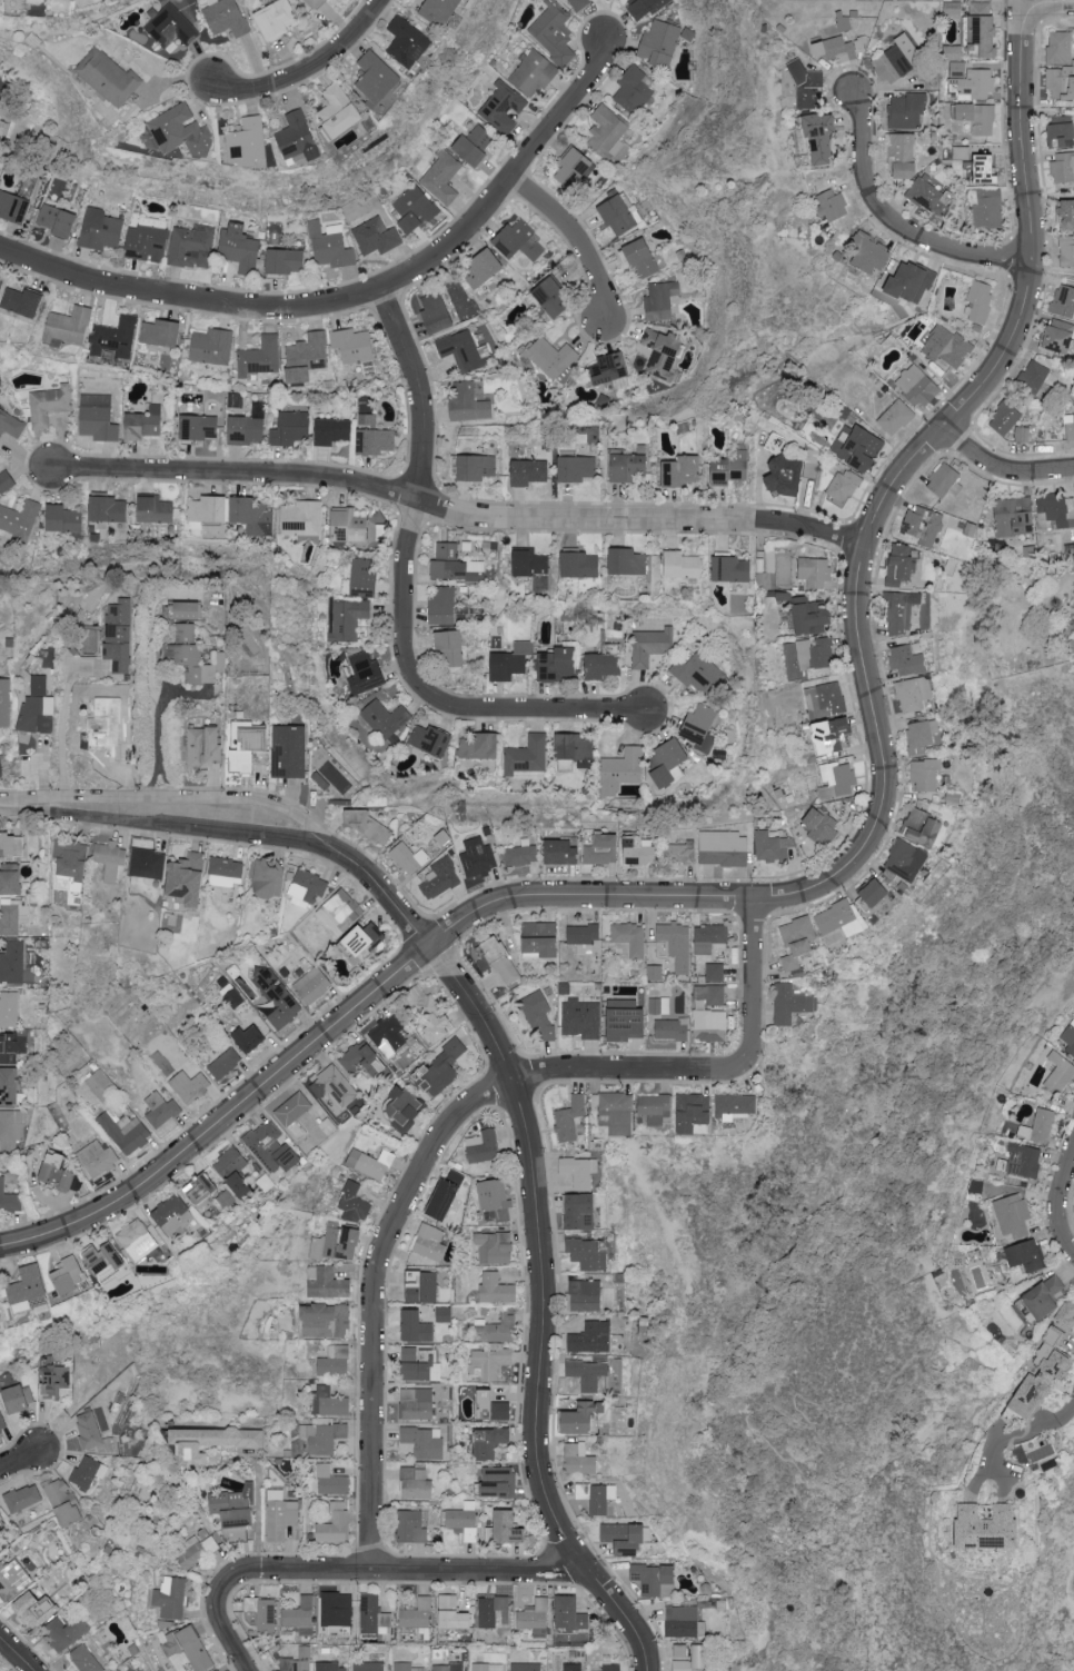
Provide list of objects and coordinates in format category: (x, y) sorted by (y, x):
building: (34, 1)
building: (317, 2)
road: (1047, 2)
building: (577, 3)
building: (642, 8)
building: (440, 11)
building: (227, 18)
building: (277, 19)
building: (171, 28)
building: (985, 31)
building: (554, 32)
building: (408, 42)
building: (662, 42)
building: (839, 48)
building: (1058, 49)
building: (954, 52)
building: (898, 60)
building: (959, 69)
road: (309, 70)
building: (534, 72)
building: (109, 77)
building: (377, 80)
building: (977, 83)
building: (1060, 86)
building: (808, 87)
building: (635, 89)
building: (504, 107)
building: (907, 111)
building: (338, 112)
building: (978, 118)
building: (181, 131)
building: (607, 131)
building: (1058, 136)
building: (297, 137)
building: (822, 138)
building: (248, 142)
building: (476, 145)
building: (902, 156)
building: (573, 167)
building: (986, 169)
building: (1063, 169)
building: (441, 177)
building: (928, 197)
building: (831, 206)
building: (14, 207)
building: (416, 208)
building: (990, 208)
building: (619, 215)
building: (1066, 217)
building: (58, 220)
road: (899, 223)
building: (100, 229)
building: (376, 236)
road: (577, 240)
building: (520, 241)
building: (146, 242)
building: (329, 245)
building: (191, 247)
building: (239, 248)
building: (1066, 251)
building: (867, 253)
building: (642, 257)
building: (286, 261)
building: (484, 270)
building: (913, 281)
building: (0, 282)
road: (356, 297)
building: (553, 297)
building: (663, 300)
building: (979, 300)
building: (23, 302)
building: (1063, 304)
building: (437, 311)
building: (68, 325)
building: (161, 332)
building: (115, 337)
building: (1056, 340)
building: (354, 345)
building: (212, 346)
building: (947, 346)
building: (464, 350)
building: (663, 351)
building: (261, 357)
building: (306, 357)
building: (553, 358)
building: (611, 371)
building: (1033, 376)
building: (917, 387)
building: (469, 402)
building: (49, 405)
building: (98, 417)
building: (897, 417)
building: (1003, 417)
building: (145, 424)
building: (11, 425)
building: (1070, 426)
building: (200, 427)
building: (249, 427)
building: (290, 428)
building: (332, 430)
building: (1023, 434)
building: (376, 441)
building: (776, 444)
building: (858, 447)
building: (474, 467)
building: (576, 467)
building: (626, 467)
road: (1001, 467)
building: (732, 470)
building: (529, 471)
building: (682, 471)
road: (901, 474)
building: (786, 475)
building: (6, 481)
building: (943, 484)
building: (844, 485)
building: (109, 508)
building: (156, 510)
building: (207, 510)
road: (457, 513)
building: (1055, 514)
building: (252, 516)
building: (20, 517)
building: (1012, 517)
building: (301, 518)
building: (63, 519)
building: (356, 527)
building: (923, 528)
building: (446, 550)
building: (627, 561)
building: (580, 564)
building: (683, 565)
building: (455, 568)
building: (534, 568)
building: (899, 568)
building: (732, 569)
building: (774, 570)
building: (815, 573)
building: (365, 578)
road: (405, 600)
building: (444, 605)
building: (188, 610)
building: (812, 616)
building: (898, 616)
building: (347, 619)
building: (118, 635)
building: (650, 645)
building: (450, 647)
building: (815, 654)
building: (189, 656)
building: (511, 662)
building: (559, 665)
building: (604, 666)
building: (907, 666)
building: (366, 673)
building: (698, 673)
building: (909, 698)
building: (826, 699)
building: (4, 702)
building: (38, 707)
building: (385, 718)
road: (157, 725)
building: (700, 727)
building: (108, 728)
road: (61, 730)
building: (833, 736)
building: (431, 739)
building: (922, 739)
building: (206, 747)
building: (479, 747)
building: (251, 750)
building: (291, 752)
building: (574, 752)
building: (526, 756)
building: (669, 764)
road: (158, 769)
building: (621, 770)
building: (925, 778)
building: (837, 780)
road: (176, 799)
road: (6, 808)
building: (366, 824)
road: (168, 826)
building: (822, 826)
building: (923, 830)
building: (11, 844)
building: (772, 847)
building: (605, 848)
building: (724, 848)
building: (640, 849)
building: (565, 851)
building: (682, 851)
building: (523, 853)
building: (409, 857)
building: (478, 857)
building: (109, 859)
building: (906, 862)
building: (70, 865)
building: (148, 866)
building: (226, 871)
building: (268, 877)
building: (186, 878)
building: (440, 878)
building: (10, 881)
building: (307, 887)
road: (380, 891)
road: (584, 894)
building: (873, 898)
building: (340, 911)
building: (12, 917)
building: (839, 924)
building: (581, 938)
building: (366, 941)
building: (629, 941)
building: (799, 941)
building: (708, 942)
building: (539, 944)
building: (672, 944)
building: (12, 963)
building: (501, 965)
building: (655, 972)
building: (715, 972)
road: (753, 974)
building: (312, 985)
building: (710, 994)
building: (277, 999)
building: (9, 1008)
building: (790, 1008)
building: (537, 1019)
building: (434, 1022)
building: (580, 1024)
building: (708, 1028)
building: (627, 1032)
building: (670, 1033)
building: (250, 1036)
building: (1070, 1037)
building: (387, 1038)
building: (12, 1046)
building: (225, 1063)
building: (358, 1064)
building: (446, 1066)
road: (635, 1070)
building: (1060, 1073)
building: (101, 1084)
building: (9, 1085)
building: (190, 1085)
building: (332, 1086)
building: (160, 1110)
building: (655, 1110)
building: (738, 1110)
building: (406, 1111)
building: (292, 1113)
road: (226, 1114)
building: (616, 1116)
building: (694, 1116)
building: (569, 1123)
building: (1040, 1126)
building: (11, 1127)
building: (125, 1132)
building: (263, 1150)
building: (483, 1153)
building: (97, 1158)
building: (1024, 1160)
building: (230, 1166)
building: (370, 1167)
building: (57, 1172)
building: (577, 1175)
building: (201, 1193)
building: (447, 1197)
building: (493, 1198)
building: (8, 1200)
building: (352, 1205)
road: (1058, 1210)
building: (169, 1214)
building: (580, 1221)
building: (1015, 1227)
building: (131, 1237)
building: (339, 1243)
building: (429, 1246)
building: (488, 1253)
building: (1027, 1255)
building: (591, 1261)
building: (103, 1264)
building: (69, 1280)
building: (327, 1287)
building: (26, 1289)
building: (497, 1293)
building: (424, 1294)
road: (374, 1297)
building: (584, 1300)
building: (1042, 1300)
road: (540, 1309)
building: (444, 1314)
building: (1066, 1314)
building: (0, 1321)
building: (325, 1324)
building: (415, 1332)
building: (1054, 1335)
building: (494, 1337)
building: (593, 1342)
building: (335, 1366)
building: (490, 1366)
building: (412, 1370)
building: (57, 1377)
building: (588, 1377)
building: (1044, 1379)
building: (19, 1398)
building: (415, 1409)
building: (485, 1409)
building: (335, 1411)
road: (551, 1421)
building: (2, 1422)
building: (583, 1423)
building: (92, 1433)
road: (1016, 1434)
building: (0, 1438)
building: (212, 1443)
building: (321, 1445)
building: (421, 1446)
building: (490, 1448)
road: (18, 1460)
building: (579, 1463)
building: (88, 1472)
building: (330, 1484)
building: (498, 1486)
building: (414, 1488)
building: (22, 1498)
building: (62, 1501)
building: (596, 1501)
building: (235, 1511)
road: (258, 1511)
building: (280, 1514)
building: (0, 1516)
building: (460, 1524)
building: (988, 1526)
building: (335, 1529)
building: (503, 1531)
building: (410, 1532)
building: (623, 1541)
building: (198, 1549)
road: (404, 1570)
building: (12, 1579)
building: (653, 1581)
building: (172, 1598)
building: (34, 1609)
building: (331, 1610)
building: (486, 1614)
building: (261, 1615)
building: (298, 1615)
building: (372, 1617)
building: (416, 1617)
building: (570, 1617)
building: (451, 1618)
building: (535, 1620)
building: (680, 1625)
road: (227, 1629)
building: (66, 1630)
building: (417, 1632)
building: (191, 1648)
building: (683, 1650)
road: (16, 1654)
building: (279, 1658)
building: (83, 1659)
building: (694, 1661)
building: (327, 1667)
building: (367, 1667)
building: (401, 1667)
building: (486, 1667)
building: (525, 1668)
building: (571, 1668)
building: (211, 1669)
building: (448, 1669)
building: (419, 1670)
building: (611, 1670)

